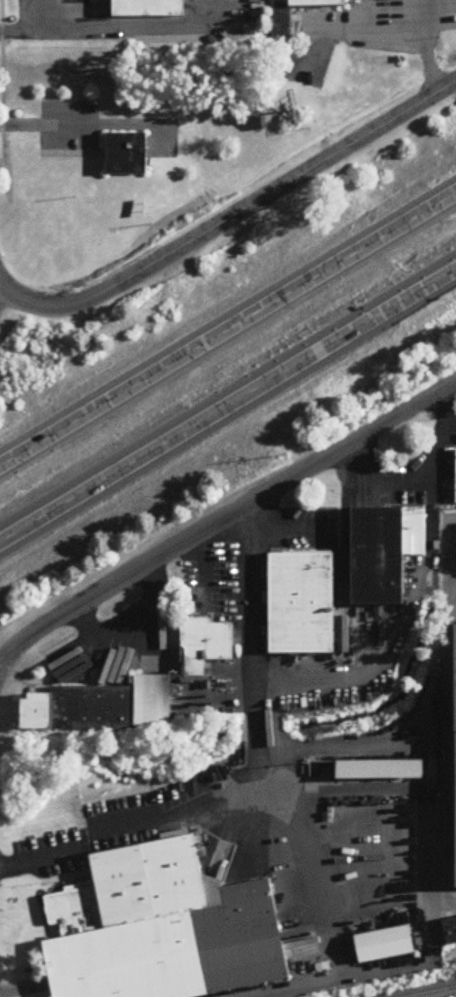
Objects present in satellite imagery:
building: (317, 4)
building: (150, 9)
road: (362, 24)
road: (128, 26)
road: (427, 46)
road: (44, 125)
building: (129, 153)
road: (231, 217)
road: (2, 294)
road: (228, 331)
road: (227, 406)
road: (444, 411)
road: (400, 477)
road: (229, 516)
road: (281, 529)
building: (385, 553)
building: (303, 603)
road: (250, 656)
road: (3, 661)
road: (320, 683)
building: (133, 690)
road: (446, 750)
building: (381, 770)
road: (184, 816)
road: (40, 856)
building: (167, 928)
building: (450, 931)
building: (386, 945)
railway: (428, 991)

